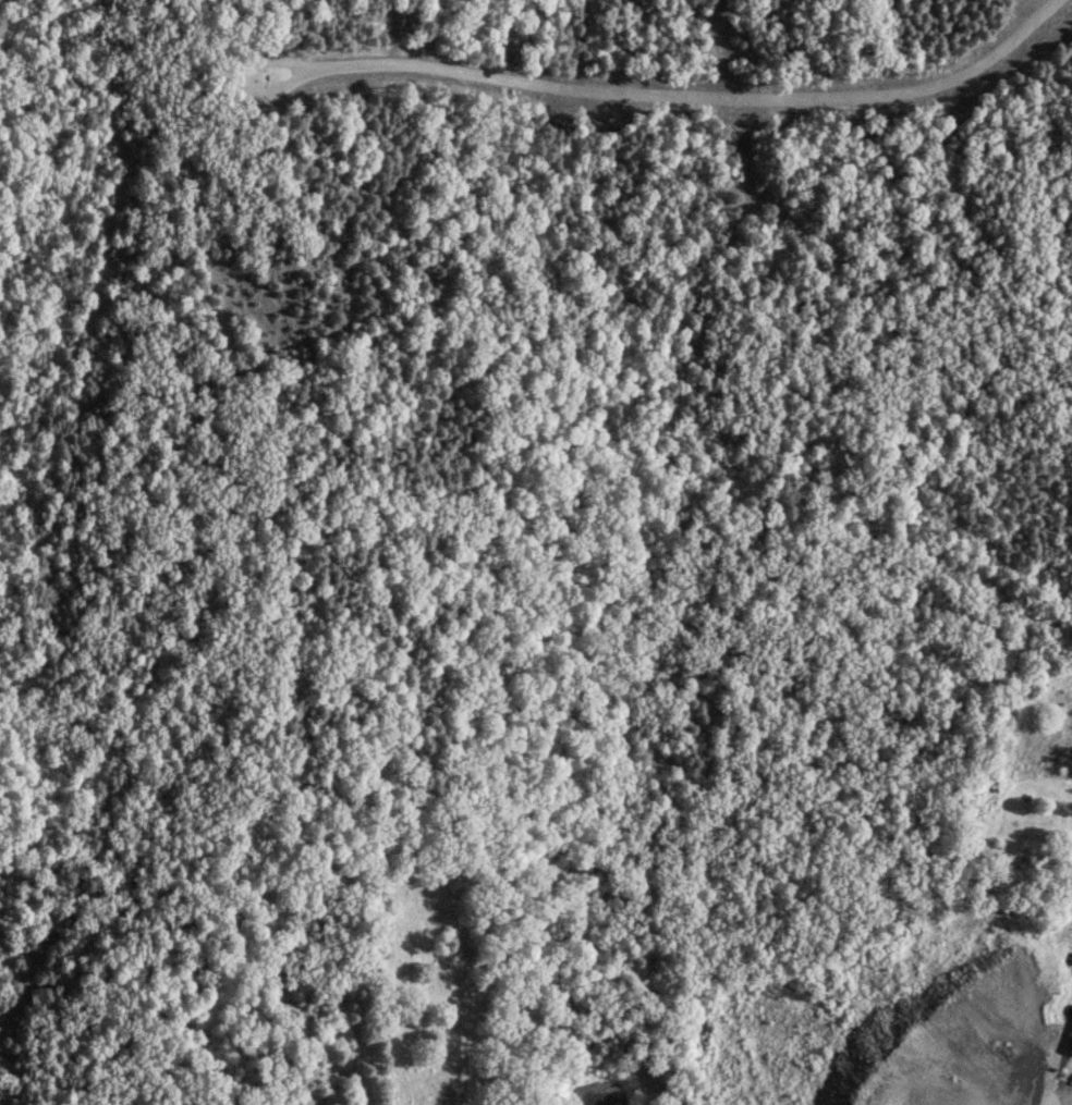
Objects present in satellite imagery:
building: (1062, 895)
building: (1070, 1048)
road: (1064, 1089)

